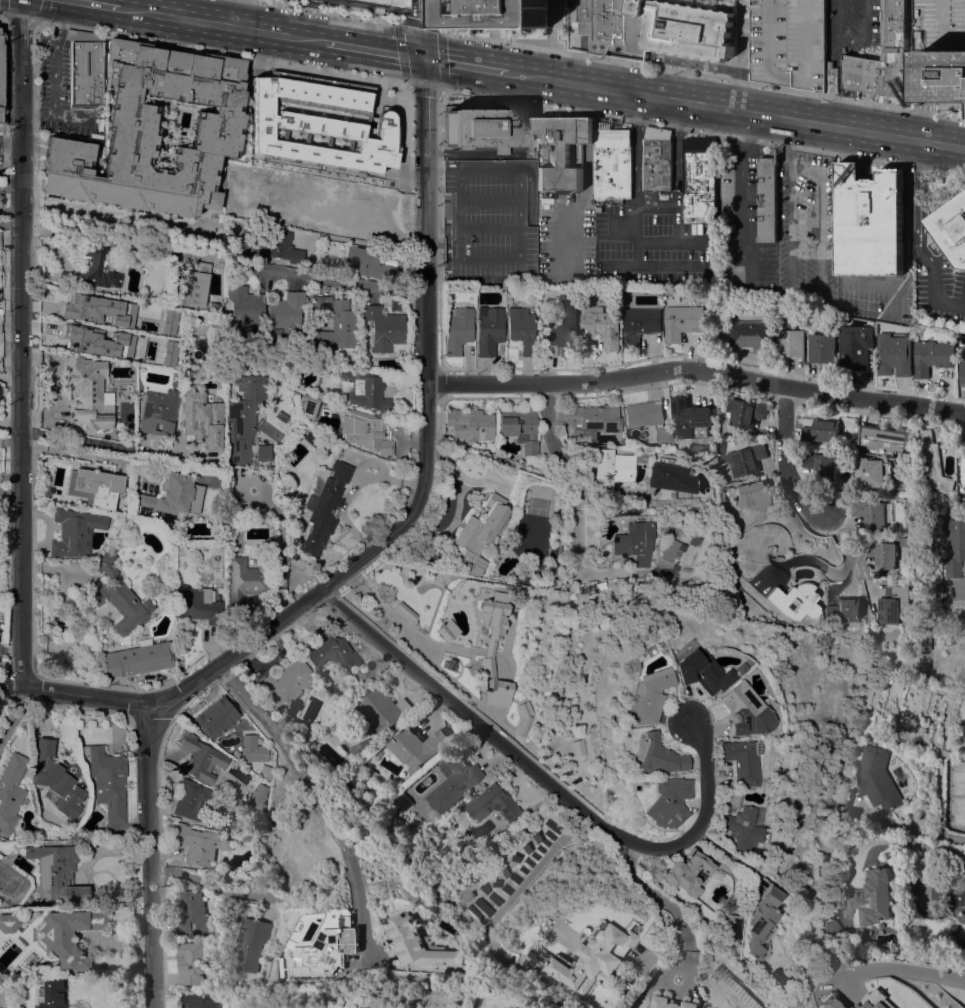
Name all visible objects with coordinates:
road: (99, 3)
building: (353, 6)
road: (61, 12)
road: (236, 13)
road: (321, 13)
building: (498, 13)
road: (438, 15)
road: (2, 16)
road: (23, 20)
road: (839, 21)
road: (400, 22)
road: (858, 22)
road: (223, 24)
building: (655, 27)
road: (421, 28)
building: (1, 39)
building: (788, 42)
road: (848, 44)
road: (373, 49)
road: (857, 50)
building: (942, 50)
road: (223, 53)
road: (739, 55)
traffic signals: (422, 57)
building: (885, 58)
road: (465, 64)
building: (85, 70)
road: (855, 71)
road: (701, 73)
road: (840, 74)
road: (54, 76)
building: (830, 76)
building: (0, 78)
building: (317, 96)
road: (852, 97)
road: (423, 108)
road: (736, 110)
road: (28, 111)
road: (846, 116)
building: (355, 123)
building: (293, 125)
building: (482, 127)
building: (217, 128)
road: (702, 132)
road: (10, 143)
road: (785, 143)
road: (921, 150)
building: (562, 151)
building: (658, 159)
building: (252, 160)
building: (272, 160)
building: (613, 163)
building: (370, 176)
building: (699, 176)
road: (409, 189)
road: (676, 189)
road: (915, 198)
road: (742, 199)
building: (768, 199)
road: (923, 199)
road: (637, 215)
building: (869, 221)
building: (952, 228)
road: (439, 237)
road: (908, 243)
building: (280, 247)
building: (367, 263)
building: (96, 269)
road: (329, 278)
road: (933, 284)
building: (192, 286)
building: (643, 290)
road: (414, 293)
road: (820, 301)
building: (213, 306)
building: (244, 307)
building: (98, 310)
building: (286, 314)
building: (168, 321)
building: (683, 321)
building: (336, 324)
building: (641, 324)
building: (562, 325)
building: (602, 325)
building: (384, 328)
building: (458, 329)
building: (488, 330)
building: (521, 331)
building: (753, 335)
building: (96, 342)
road: (21, 343)
building: (791, 344)
building: (822, 348)
building: (854, 350)
building: (168, 353)
building: (894, 355)
building: (932, 356)
road: (696, 369)
building: (962, 370)
road: (10, 377)
building: (364, 390)
building: (87, 392)
building: (307, 405)
building: (746, 411)
building: (158, 412)
building: (644, 413)
building: (281, 416)
building: (689, 416)
building: (591, 418)
building: (203, 420)
building: (246, 422)
building: (472, 423)
building: (520, 428)
building: (821, 430)
building: (365, 432)
road: (552, 434)
building: (665, 435)
building: (310, 437)
building: (883, 437)
road: (116, 447)
building: (745, 459)
road: (784, 460)
building: (932, 462)
building: (615, 464)
building: (821, 464)
building: (963, 470)
building: (870, 471)
building: (671, 477)
building: (94, 487)
road: (11, 493)
building: (751, 494)
building: (171, 499)
building: (322, 509)
building: (870, 512)
building: (75, 532)
building: (481, 534)
building: (905, 541)
building: (633, 542)
building: (954, 545)
building: (667, 550)
building: (881, 551)
road: (363, 553)
road: (279, 565)
road: (831, 571)
building: (244, 580)
building: (598, 585)
building: (507, 587)
building: (515, 589)
building: (766, 593)
building: (119, 600)
building: (792, 602)
building: (894, 603)
building: (199, 605)
building: (844, 609)
building: (404, 612)
building: (448, 631)
building: (925, 640)
building: (490, 648)
building: (333, 653)
building: (139, 658)
building: (450, 664)
building: (697, 674)
building: (287, 682)
building: (355, 684)
building: (641, 696)
building: (381, 709)
building: (740, 710)
road: (12, 715)
building: (215, 717)
building: (525, 717)
building: (790, 743)
building: (962, 743)
building: (416, 747)
building: (577, 747)
building: (360, 748)
building: (252, 749)
building: (654, 756)
building: (199, 758)
building: (737, 761)
building: (347, 765)
building: (265, 771)
building: (876, 777)
building: (55, 778)
building: (107, 780)
building: (356, 780)
building: (454, 782)
road: (547, 782)
road: (315, 791)
building: (11, 792)
building: (258, 795)
building: (193, 800)
building: (728, 800)
building: (402, 801)
building: (666, 802)
building: (494, 804)
building: (428, 814)
building: (230, 826)
building: (741, 830)
road: (912, 843)
building: (201, 844)
road: (722, 853)
road: (155, 858)
building: (57, 873)
building: (685, 873)
road: (532, 874)
building: (955, 897)
building: (870, 898)
road: (663, 903)
building: (192, 913)
building: (8, 922)
building: (762, 924)
building: (732, 928)
building: (833, 928)
building: (951, 929)
building: (67, 935)
building: (254, 943)
building: (420, 943)
building: (329, 950)
building: (588, 958)
building: (191, 961)
road: (911, 967)
building: (849, 988)
building: (50, 994)
building: (200, 1000)
building: (874, 1000)
building: (832, 1002)
building: (672, 1003)
building: (378, 1007)

